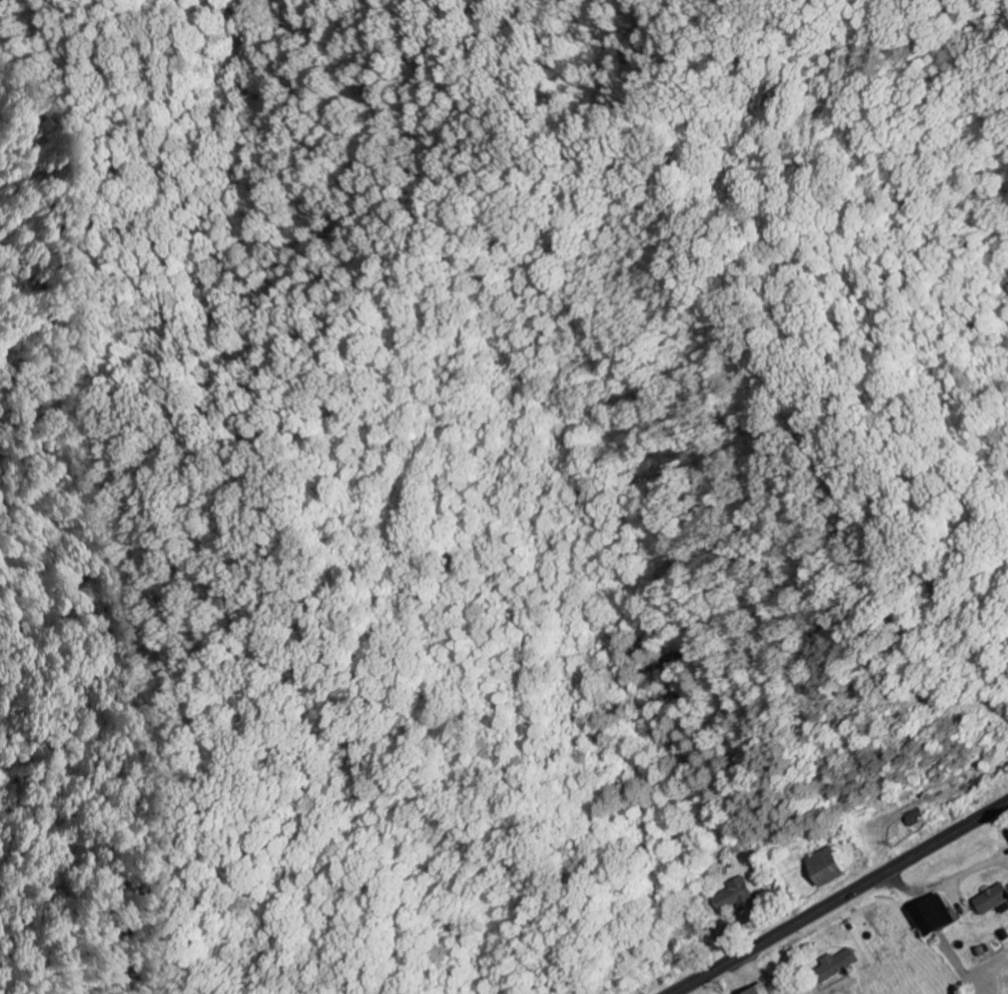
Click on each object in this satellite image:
building: (913, 819)
building: (1007, 834)
building: (824, 869)
building: (735, 897)
road: (839, 897)
building: (991, 902)
building: (932, 917)
building: (834, 967)

